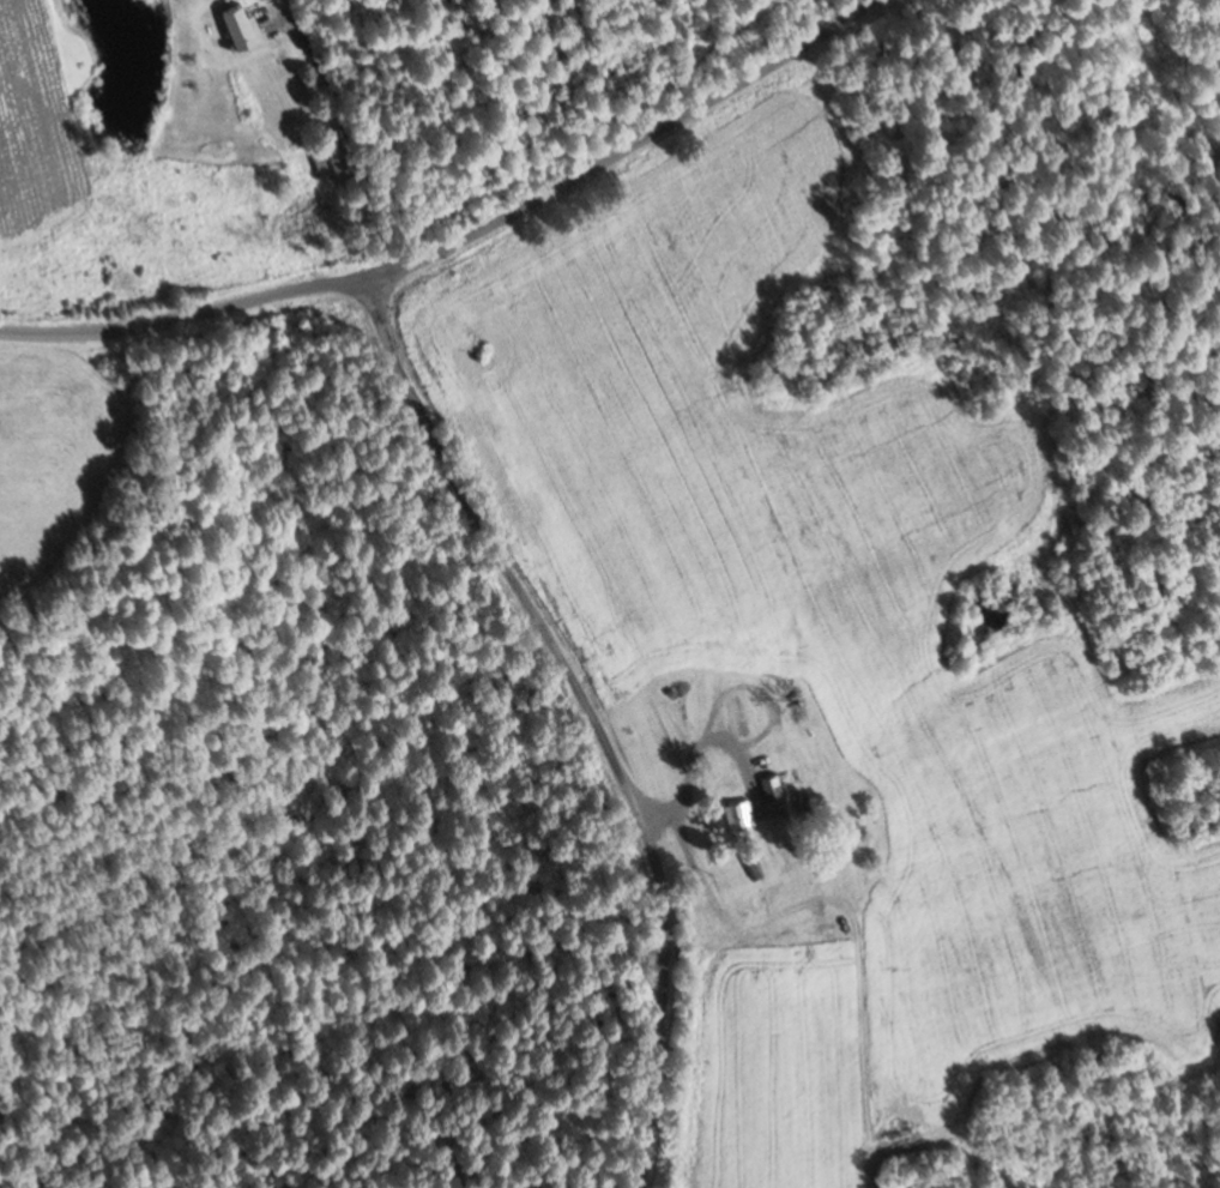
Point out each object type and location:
road: (567, 89)
road: (464, 240)
road: (593, 713)

